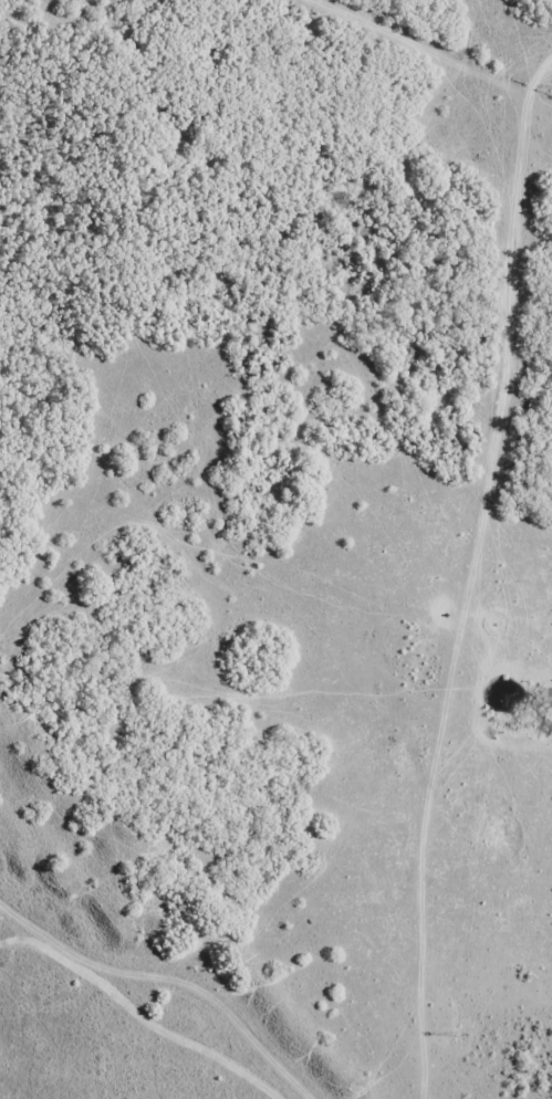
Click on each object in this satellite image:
road: (420, 54)

